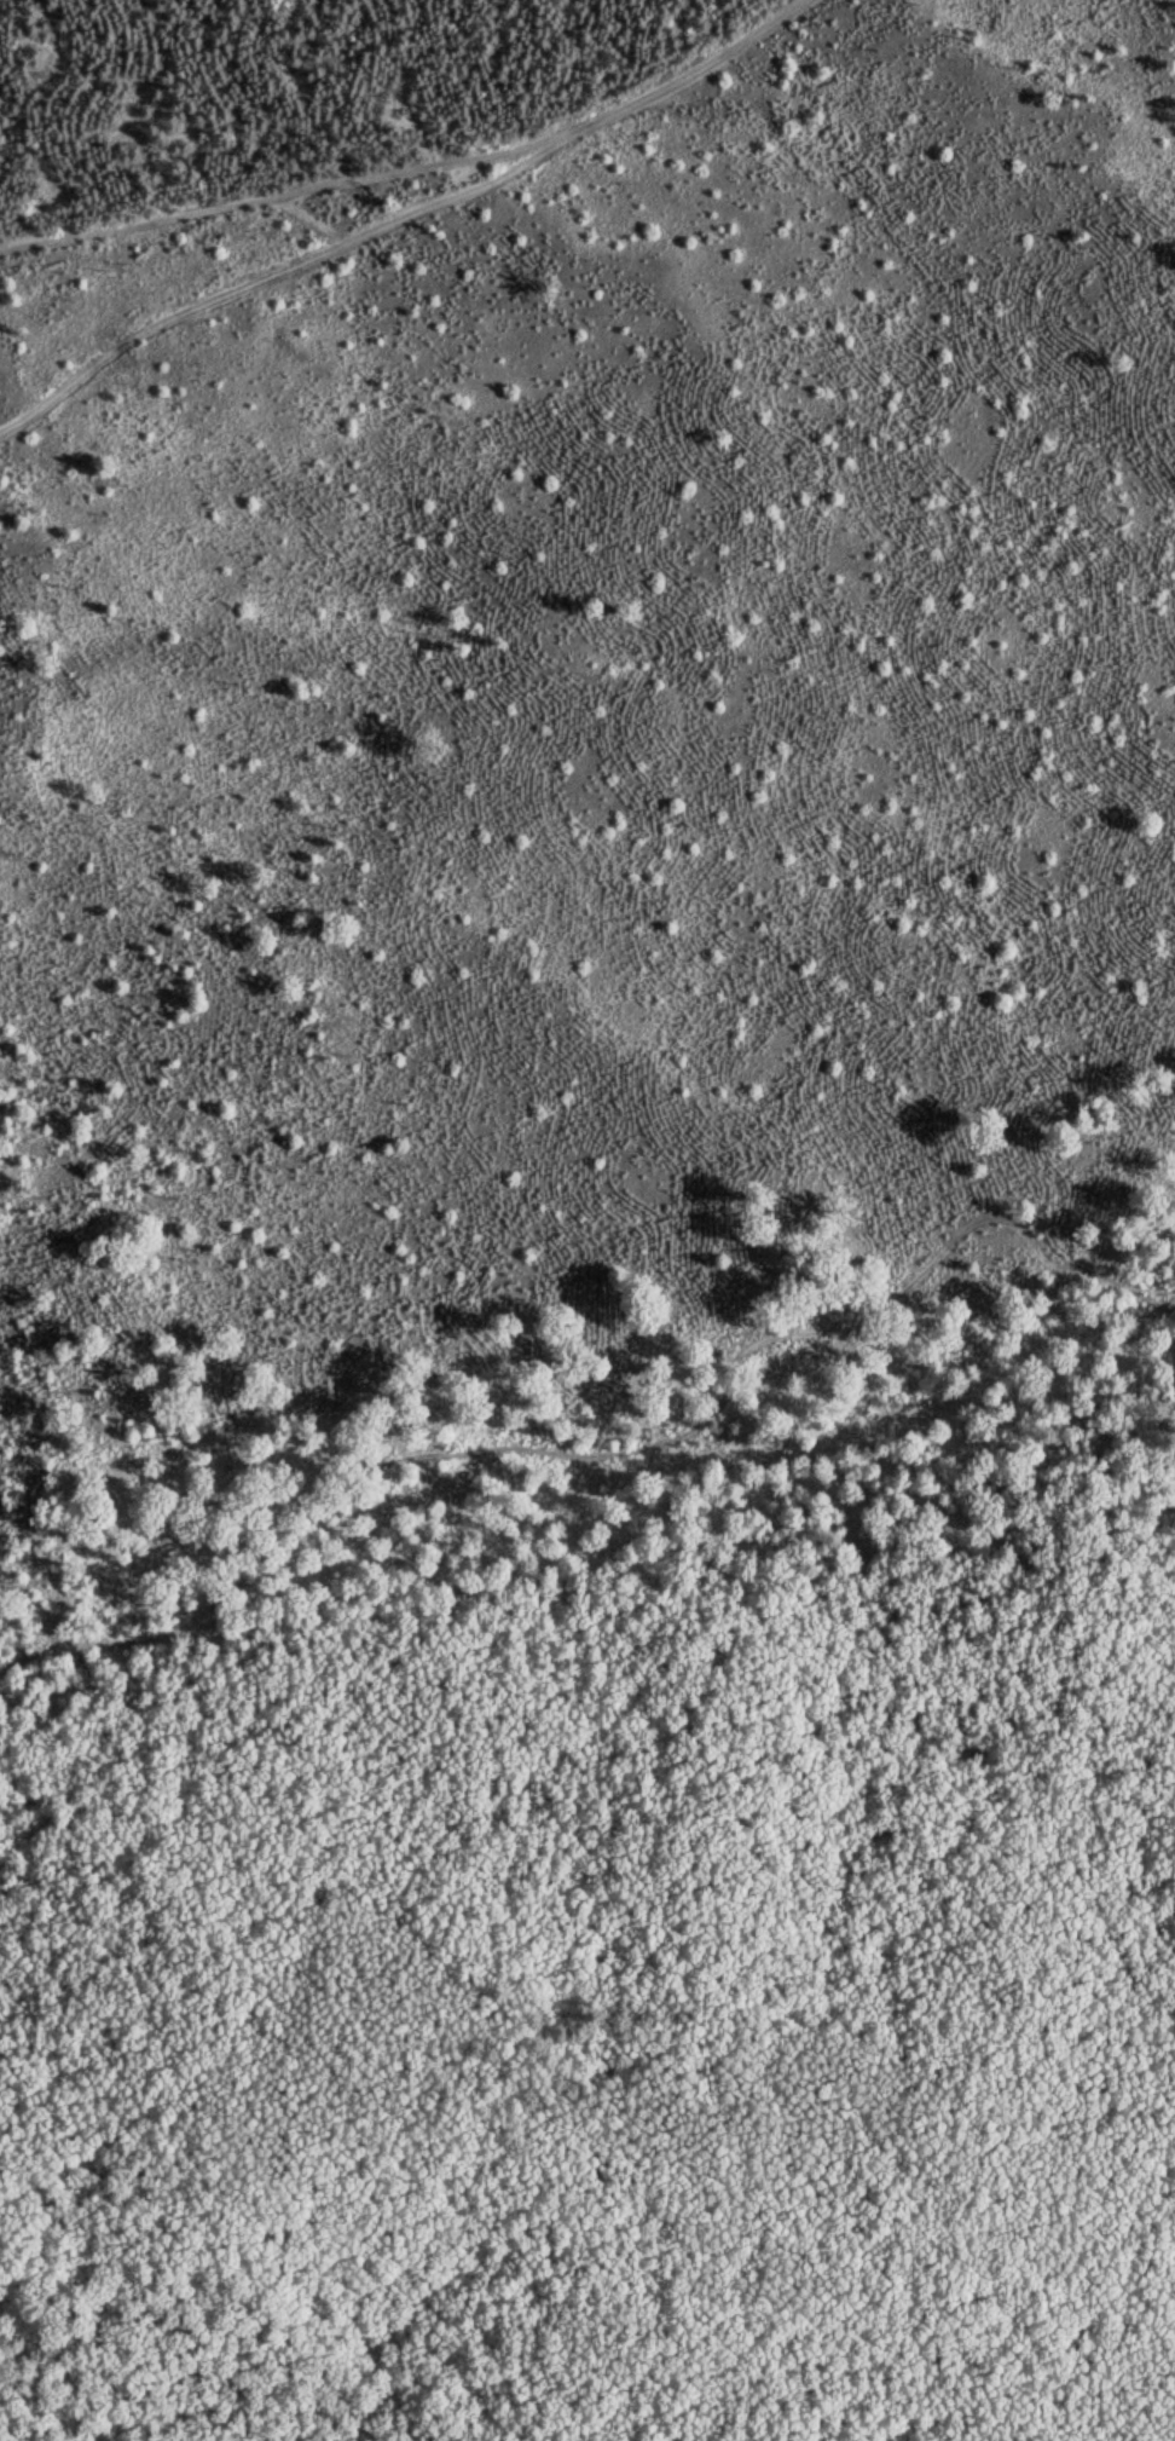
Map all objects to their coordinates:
road: (415, 165)
road: (231, 294)

